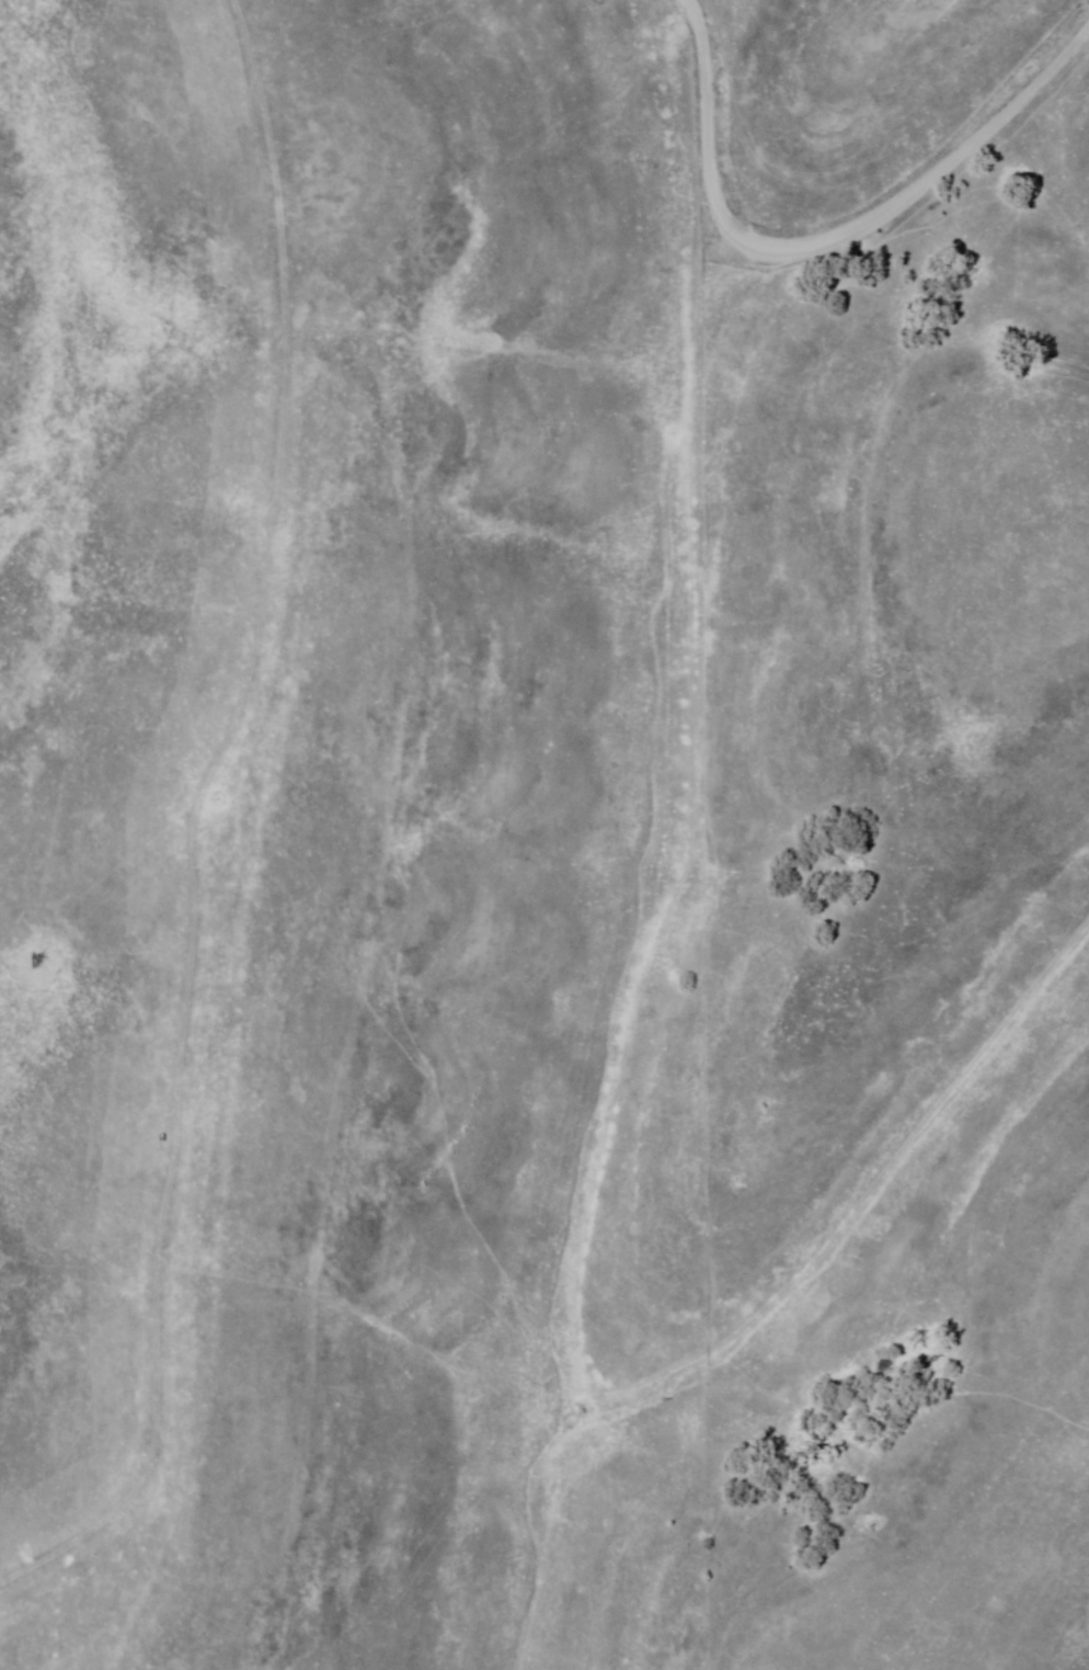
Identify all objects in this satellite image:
road: (828, 237)

